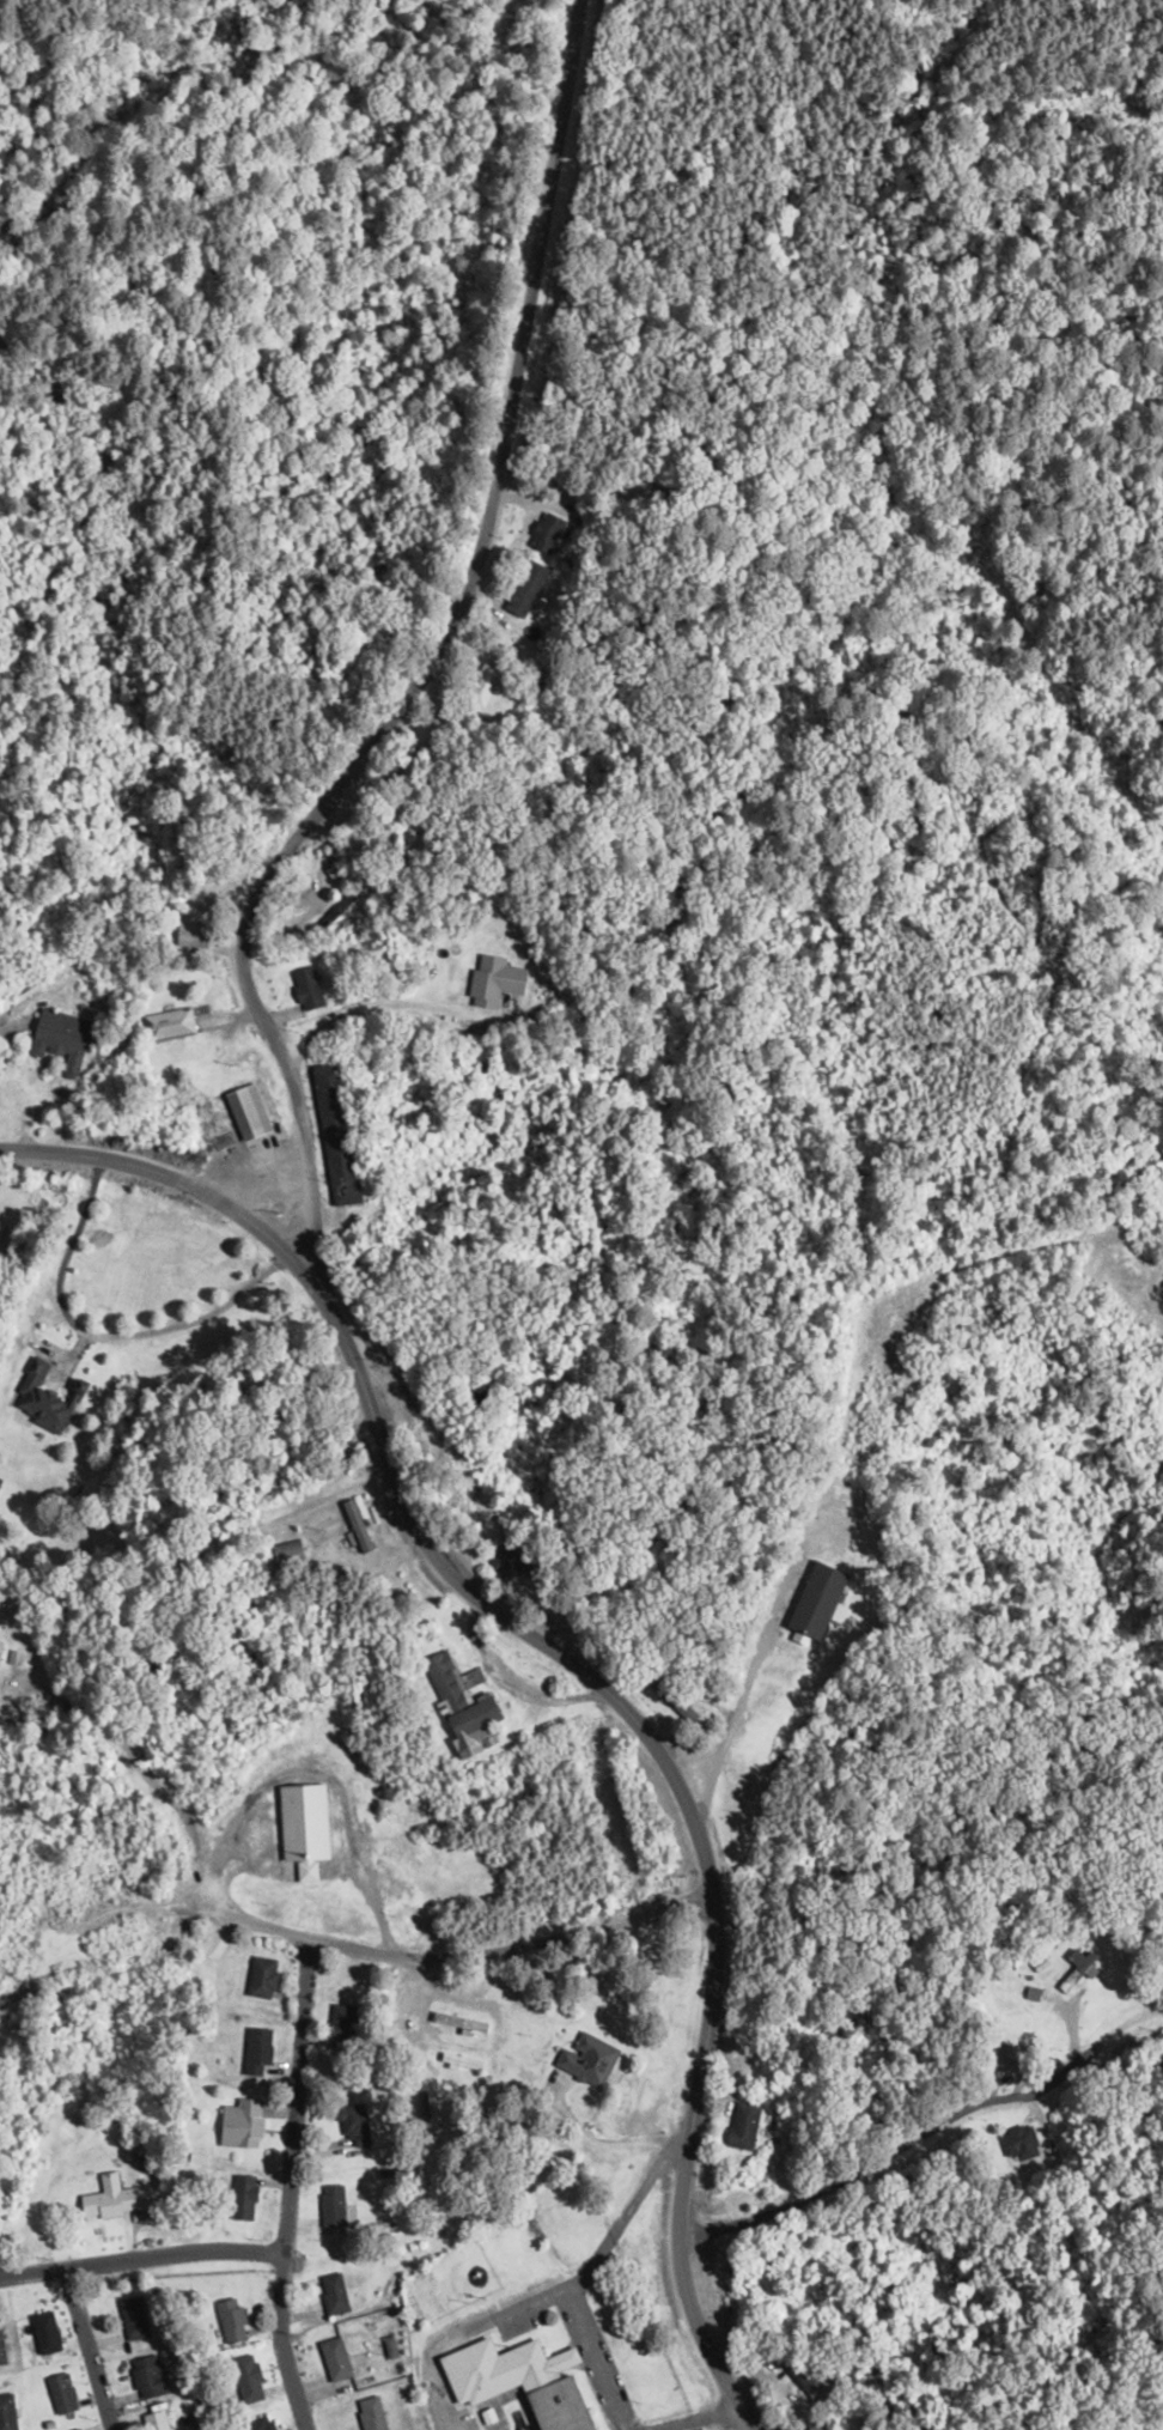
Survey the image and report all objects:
building: (543, 533)
road: (428, 661)
building: (477, 684)
building: (339, 910)
building: (188, 934)
building: (491, 979)
road: (116, 983)
building: (304, 986)
building: (166, 1023)
building: (53, 1028)
building: (255, 1114)
building: (331, 1132)
building: (35, 1399)
building: (357, 1525)
building: (286, 1553)
building: (812, 1599)
road: (573, 1665)
road: (748, 1670)
building: (459, 1703)
building: (681, 1711)
building: (302, 1821)
road: (507, 1949)
building: (1073, 1970)
building: (260, 1976)
building: (461, 2022)
building: (340, 2023)
building: (383, 2033)
building: (256, 2051)
building: (1001, 2057)
building: (586, 2060)
building: (240, 2124)
building: (351, 2125)
building: (741, 2125)
building: (1015, 2143)
road: (291, 2185)
building: (761, 2185)
building: (242, 2197)
building: (102, 2199)
building: (330, 2205)
road: (142, 2256)
building: (333, 2294)
building: (132, 2317)
building: (230, 2320)
building: (44, 2332)
road: (90, 2349)
building: (333, 2358)
building: (498, 2369)
building: (146, 2376)
building: (798, 2377)
building: (245, 2379)
building: (60, 2393)
building: (556, 2405)
building: (6, 2412)
building: (369, 2413)
building: (154, 2420)
building: (257, 2423)
building: (75, 2429)

